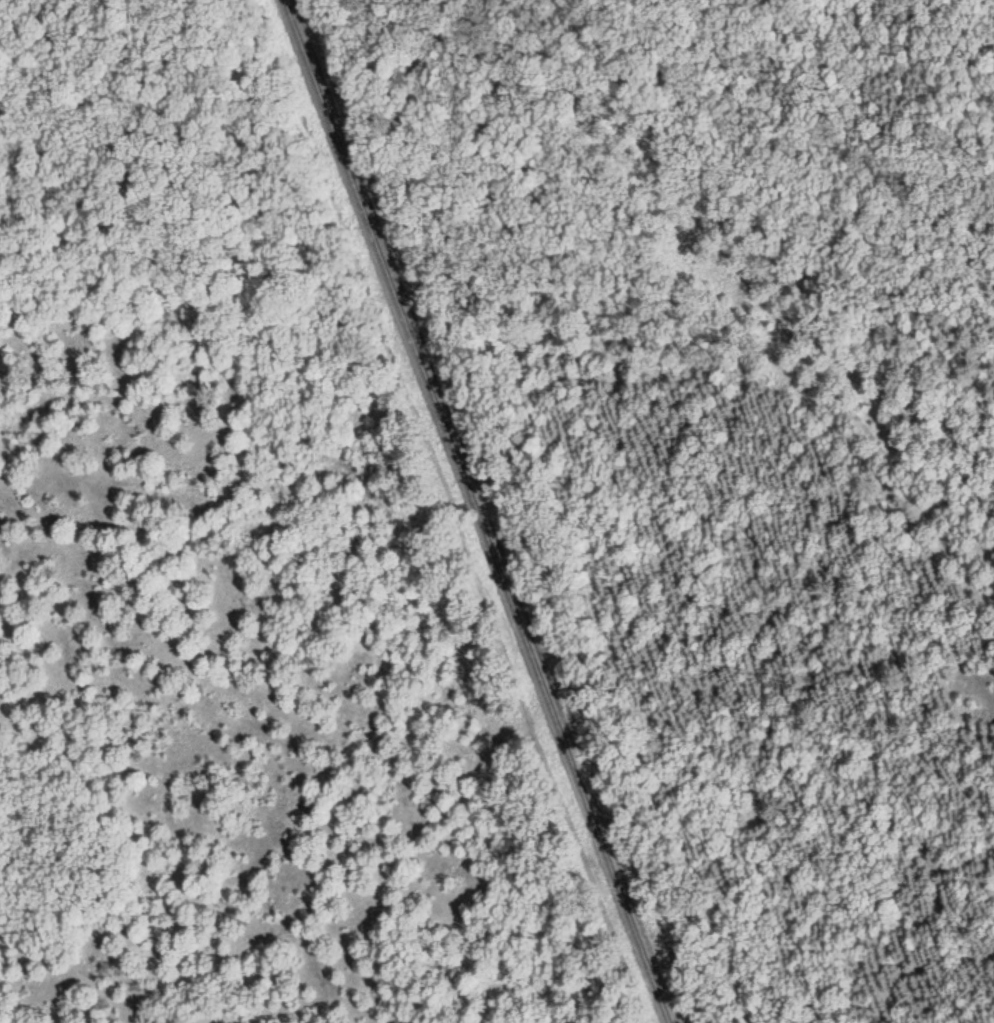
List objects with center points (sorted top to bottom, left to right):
road: (758, 303)
railway: (476, 512)

